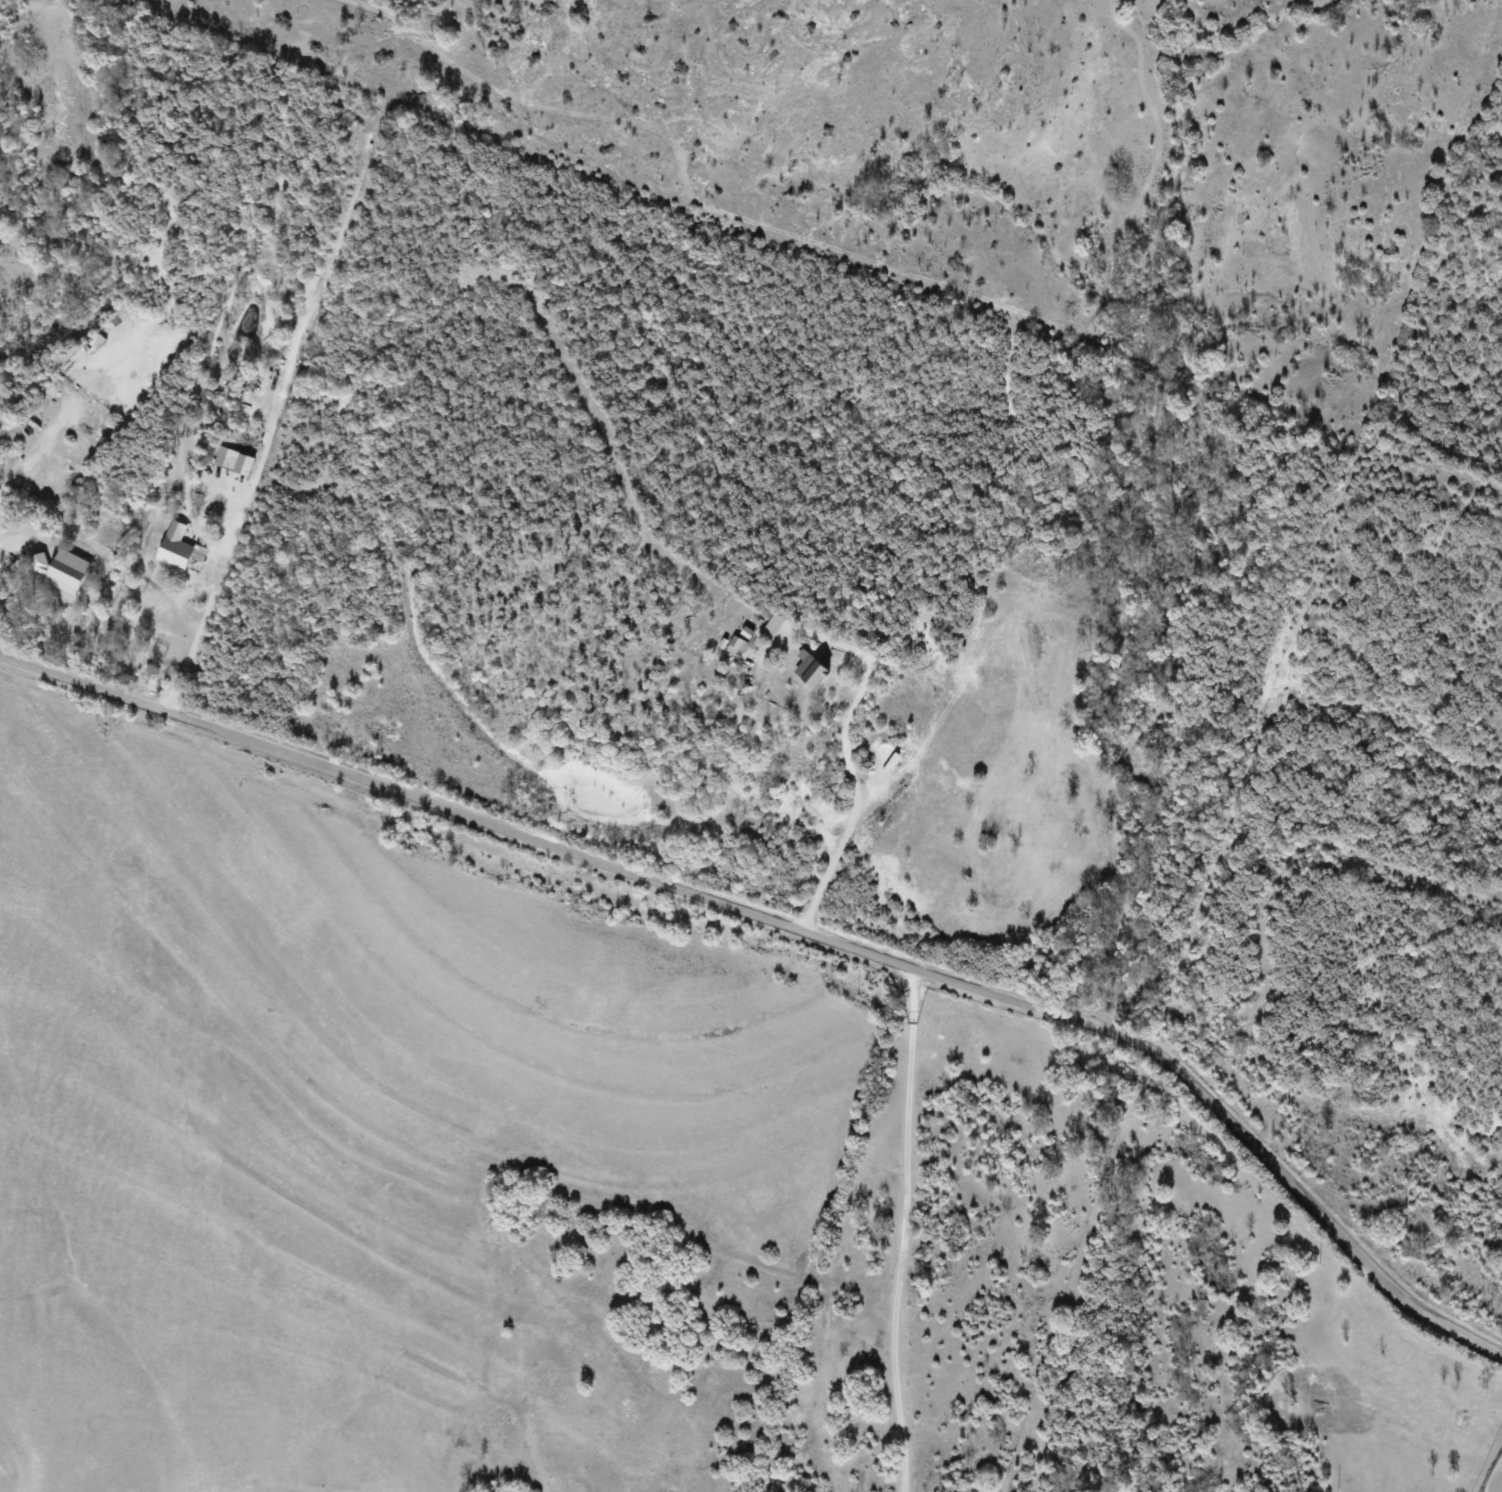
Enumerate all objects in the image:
building: (76, 457)
building: (234, 461)
building: (179, 548)
building: (773, 626)
building: (737, 646)
building: (812, 670)
road: (796, 935)
road: (914, 1234)

